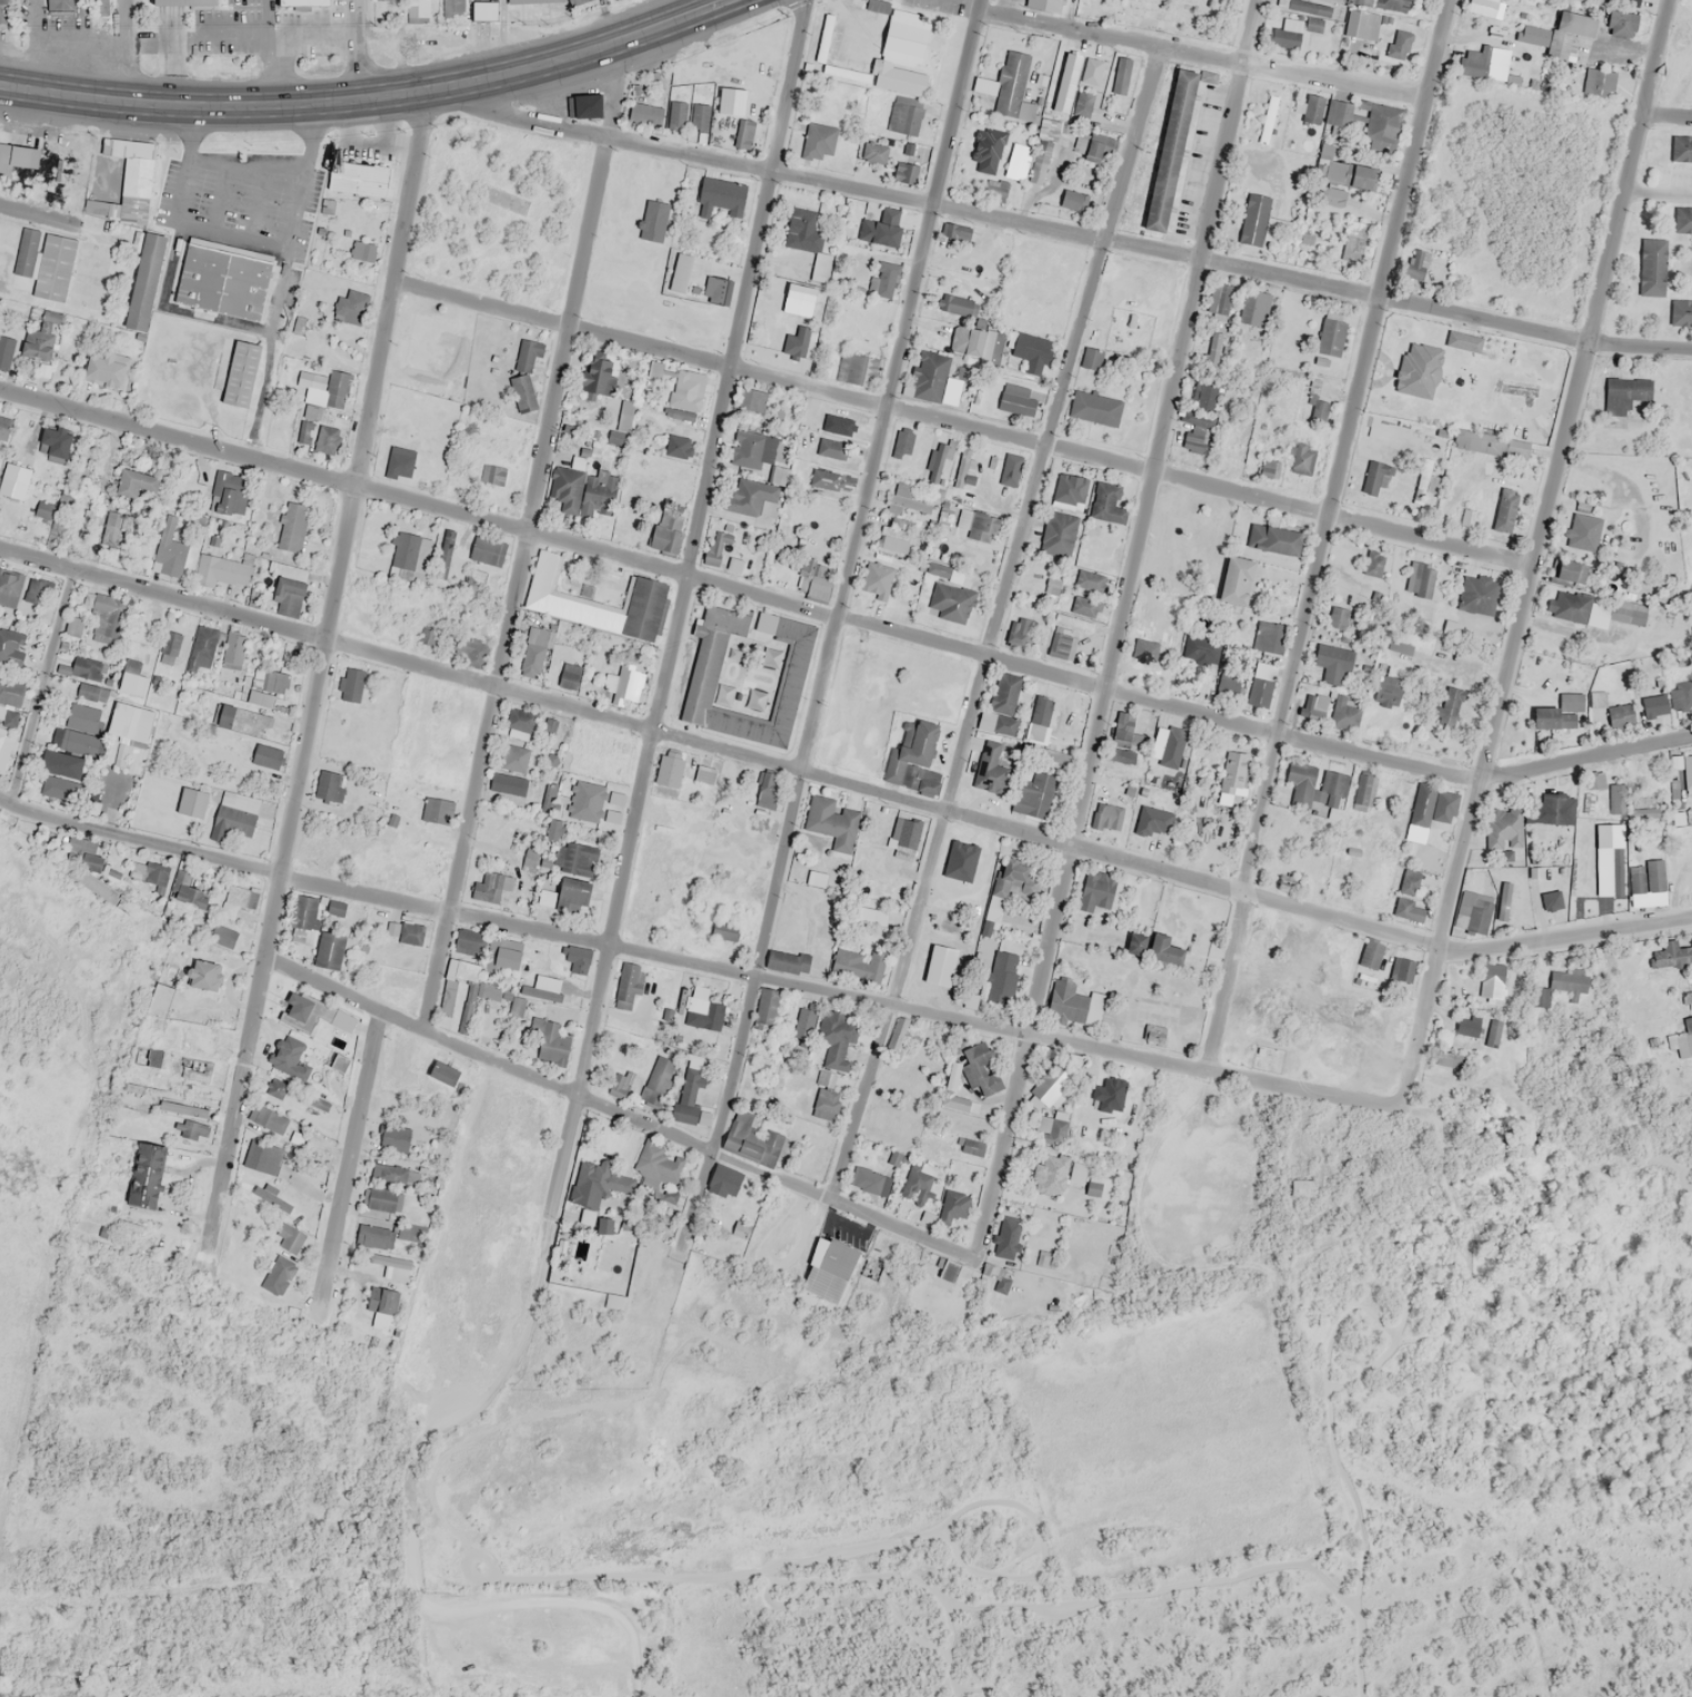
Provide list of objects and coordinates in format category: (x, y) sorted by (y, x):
building: (528, 0)
building: (1062, 0)
building: (1336, 0)
building: (297, 1)
building: (1363, 1)
building: (186, 2)
building: (1041, 3)
building: (877, 6)
building: (477, 7)
building: (1629, 7)
building: (452, 10)
building: (3, 11)
park: (1168, 16)
building: (1362, 24)
building: (1285, 33)
building: (1569, 36)
building: (907, 37)
building: (1398, 44)
road: (357, 49)
road: (126, 51)
road: (1201, 54)
building: (1091, 71)
building: (1120, 77)
building: (899, 79)
building: (1005, 84)
road: (369, 97)
building: (829, 100)
building: (1083, 103)
building: (583, 106)
building: (1312, 108)
building: (644, 113)
building: (678, 114)
building: (904, 114)
building: (699, 117)
road: (1666, 118)
building: (1267, 119)
building: (1382, 129)
road: (599, 133)
building: (744, 133)
building: (1676, 142)
building: (1161, 144)
building: (1094, 147)
building: (987, 150)
building: (875, 152)
building: (911, 152)
building: (17, 158)
building: (1328, 164)
building: (905, 172)
building: (352, 174)
building: (127, 182)
road: (851, 187)
building: (990, 190)
road: (1658, 194)
building: (1333, 196)
building: (1073, 201)
building: (1250, 214)
building: (1682, 220)
building: (887, 226)
building: (955, 231)
building: (811, 241)
building: (1351, 248)
building: (50, 264)
building: (1415, 267)
building: (1650, 267)
road: (1260, 269)
building: (218, 280)
building: (144, 282)
building: (883, 285)
building: (715, 289)
building: (955, 305)
building: (350, 306)
building: (1258, 308)
building: (1675, 308)
building: (1128, 331)
building: (1331, 331)
building: (967, 341)
building: (799, 342)
building: (39, 345)
road: (1639, 347)
building: (1213, 350)
building: (6, 351)
building: (1030, 352)
building: (525, 355)
building: (1090, 358)
building: (106, 368)
building: (234, 369)
building: (854, 369)
building: (1418, 370)
building: (929, 376)
building: (658, 381)
building: (336, 389)
building: (687, 390)
building: (522, 392)
building: (1624, 393)
building: (1015, 399)
building: (755, 401)
building: (1201, 413)
building: (624, 416)
road: (963, 422)
building: (3, 428)
building: (834, 438)
building: (326, 440)
building: (904, 440)
building: (54, 442)
building: (671, 446)
building: (752, 449)
building: (1300, 458)
building: (400, 461)
building: (935, 462)
building: (964, 465)
building: (1009, 470)
building: (20, 472)
building: (778, 475)
building: (1372, 478)
building: (827, 479)
building: (1421, 481)
building: (136, 482)
building: (1070, 489)
building: (1689, 490)
building: (583, 492)
building: (229, 493)
building: (1105, 499)
building: (905, 500)
building: (768, 508)
building: (44, 509)
building: (1504, 511)
building: (1466, 518)
road: (350, 521)
building: (197, 522)
building: (667, 526)
building: (291, 527)
building: (111, 528)
building: (898, 531)
building: (1582, 532)
road: (1324, 533)
road: (527, 537)
building: (1273, 539)
building: (171, 546)
road: (693, 546)
building: (715, 548)
building: (410, 552)
road: (1535, 552)
building: (443, 555)
building: (1373, 562)
building: (221, 570)
building: (1570, 571)
road: (848, 576)
building: (477, 577)
building: (1420, 579)
building: (877, 580)
building: (1235, 580)
building: (1090, 581)
building: (9, 587)
building: (290, 589)
building: (1476, 595)
building: (951, 602)
building: (1565, 605)
building: (642, 608)
building: (1079, 613)
building: (1338, 617)
building: (107, 619)
road: (841, 619)
road: (994, 621)
building: (765, 622)
building: (73, 628)
road: (1119, 629)
building: (1019, 632)
building: (1264, 636)
building: (206, 642)
building: (1062, 645)
building: (1399, 646)
building: (11, 647)
building: (169, 647)
building: (1199, 648)
building: (532, 659)
building: (704, 662)
building: (1332, 662)
building: (1229, 676)
building: (132, 678)
building: (351, 685)
building: (625, 685)
building: (267, 686)
building: (1682, 687)
road: (44, 689)
building: (1386, 690)
building: (1258, 691)
building: (1596, 698)
building: (1001, 706)
building: (1449, 706)
building: (1653, 706)
building: (1316, 708)
building: (1560, 712)
building: (1618, 715)
building: (239, 719)
building: (1039, 719)
building: (131, 723)
building: (1122, 729)
building: (77, 731)
building: (1173, 742)
building: (4, 743)
building: (910, 750)
building: (267, 756)
building: (1055, 758)
building: (992, 766)
building: (669, 769)
building: (1688, 771)
building: (1234, 772)
building: (704, 775)
road: (842, 783)
building: (330, 787)
building: (1316, 787)
building: (1591, 790)
building: (1362, 793)
building: (764, 795)
building: (1034, 795)
building: (1618, 798)
building: (192, 801)
building: (1430, 805)
building: (1553, 808)
building: (437, 810)
building: (236, 812)
building: (1107, 816)
building: (832, 821)
building: (1504, 828)
building: (905, 831)
building: (83, 855)
building: (578, 859)
building: (492, 887)
building: (1388, 891)
building: (1097, 892)
building: (573, 896)
building: (1413, 897)
building: (1502, 900)
building: (1551, 900)
building: (336, 907)
building: (1472, 911)
building: (698, 914)
building: (304, 920)
building: (724, 930)
building: (391, 931)
building: (226, 934)
building: (470, 941)
building: (1135, 944)
building: (1163, 949)
building: (330, 950)
building: (1371, 954)
building: (1676, 954)
building: (502, 956)
building: (787, 962)
building: (940, 965)
road: (700, 966)
building: (1401, 969)
building: (1491, 974)
building: (204, 976)
building: (1001, 976)
building: (627, 984)
building: (448, 987)
building: (487, 990)
building: (1074, 1004)
building: (159, 1005)
building: (515, 1006)
building: (702, 1007)
building: (765, 1008)
building: (302, 1011)
building: (803, 1021)
building: (1466, 1025)
road: (419, 1027)
building: (1493, 1032)
building: (897, 1034)
building: (1681, 1039)
building: (550, 1041)
building: (154, 1059)
building: (289, 1059)
building: (1450, 1060)
building: (831, 1061)
building: (334, 1066)
building: (975, 1068)
building: (196, 1070)
building: (442, 1074)
building: (951, 1076)
building: (657, 1080)
building: (274, 1088)
building: (1048, 1091)
building: (689, 1092)
road: (239, 1097)
building: (182, 1109)
building: (194, 1129)
building: (752, 1135)
building: (393, 1138)
road: (349, 1160)
building: (284, 1168)
building: (1077, 1172)
building: (147, 1175)
building: (1048, 1175)
road: (777, 1176)
building: (869, 1180)
building: (723, 1181)
building: (1092, 1189)
building: (270, 1199)
building: (380, 1200)
building: (952, 1207)
building: (603, 1226)
building: (372, 1237)
building: (290, 1238)
building: (608, 1256)
building: (833, 1258)
building: (388, 1260)
building: (948, 1271)
building: (991, 1271)
building: (277, 1274)
building: (382, 1300)
building: (614, 1301)
road: (504, 1369)

